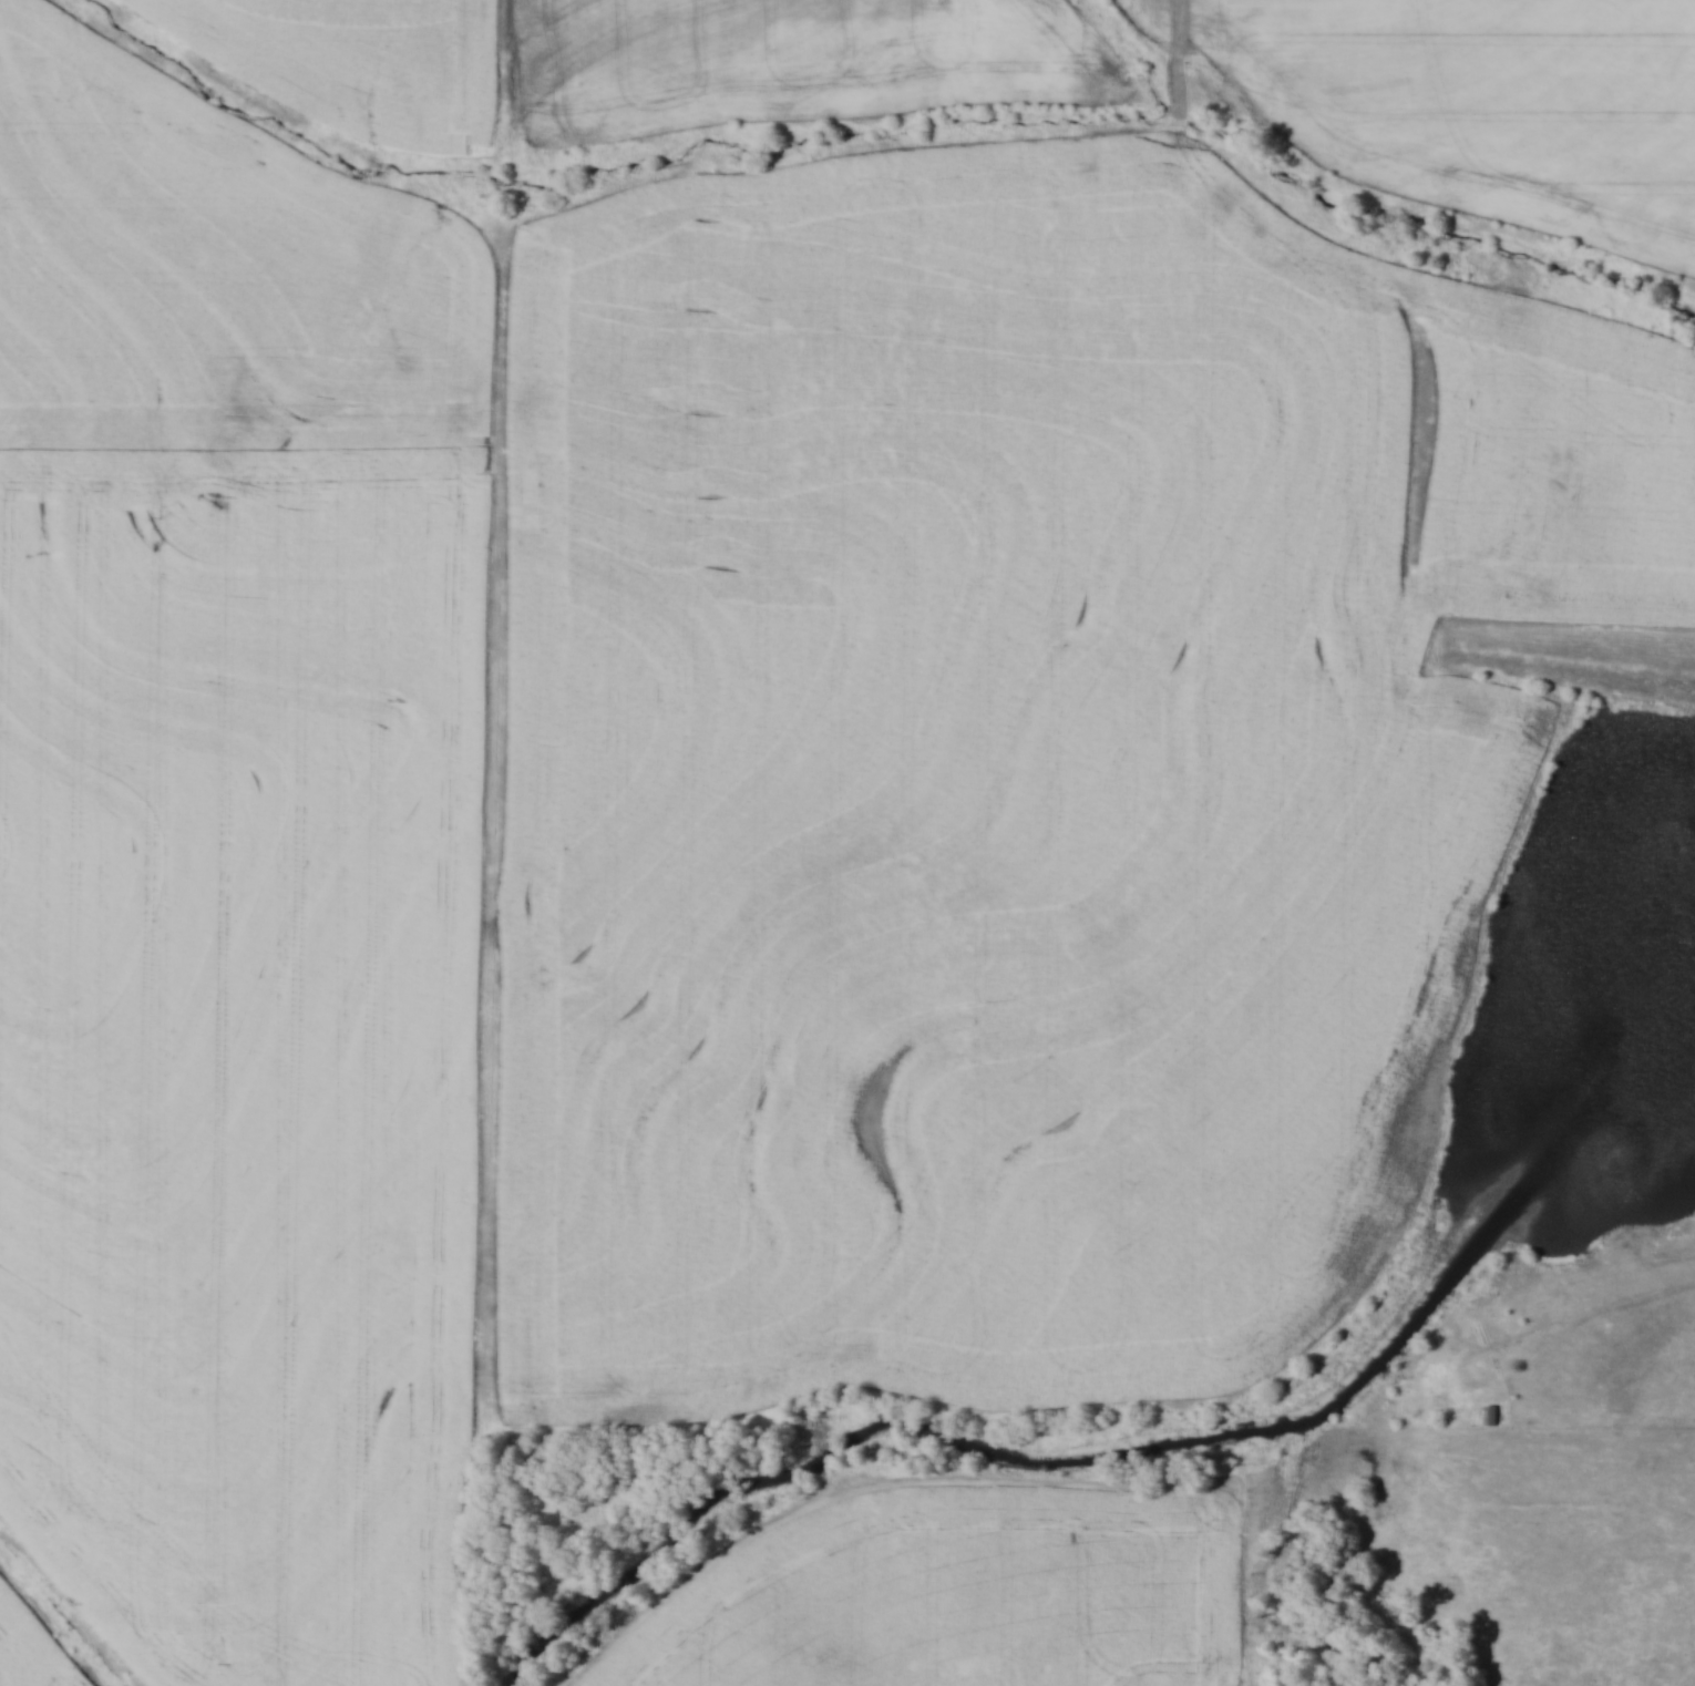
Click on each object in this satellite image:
building: (1491, 1416)

